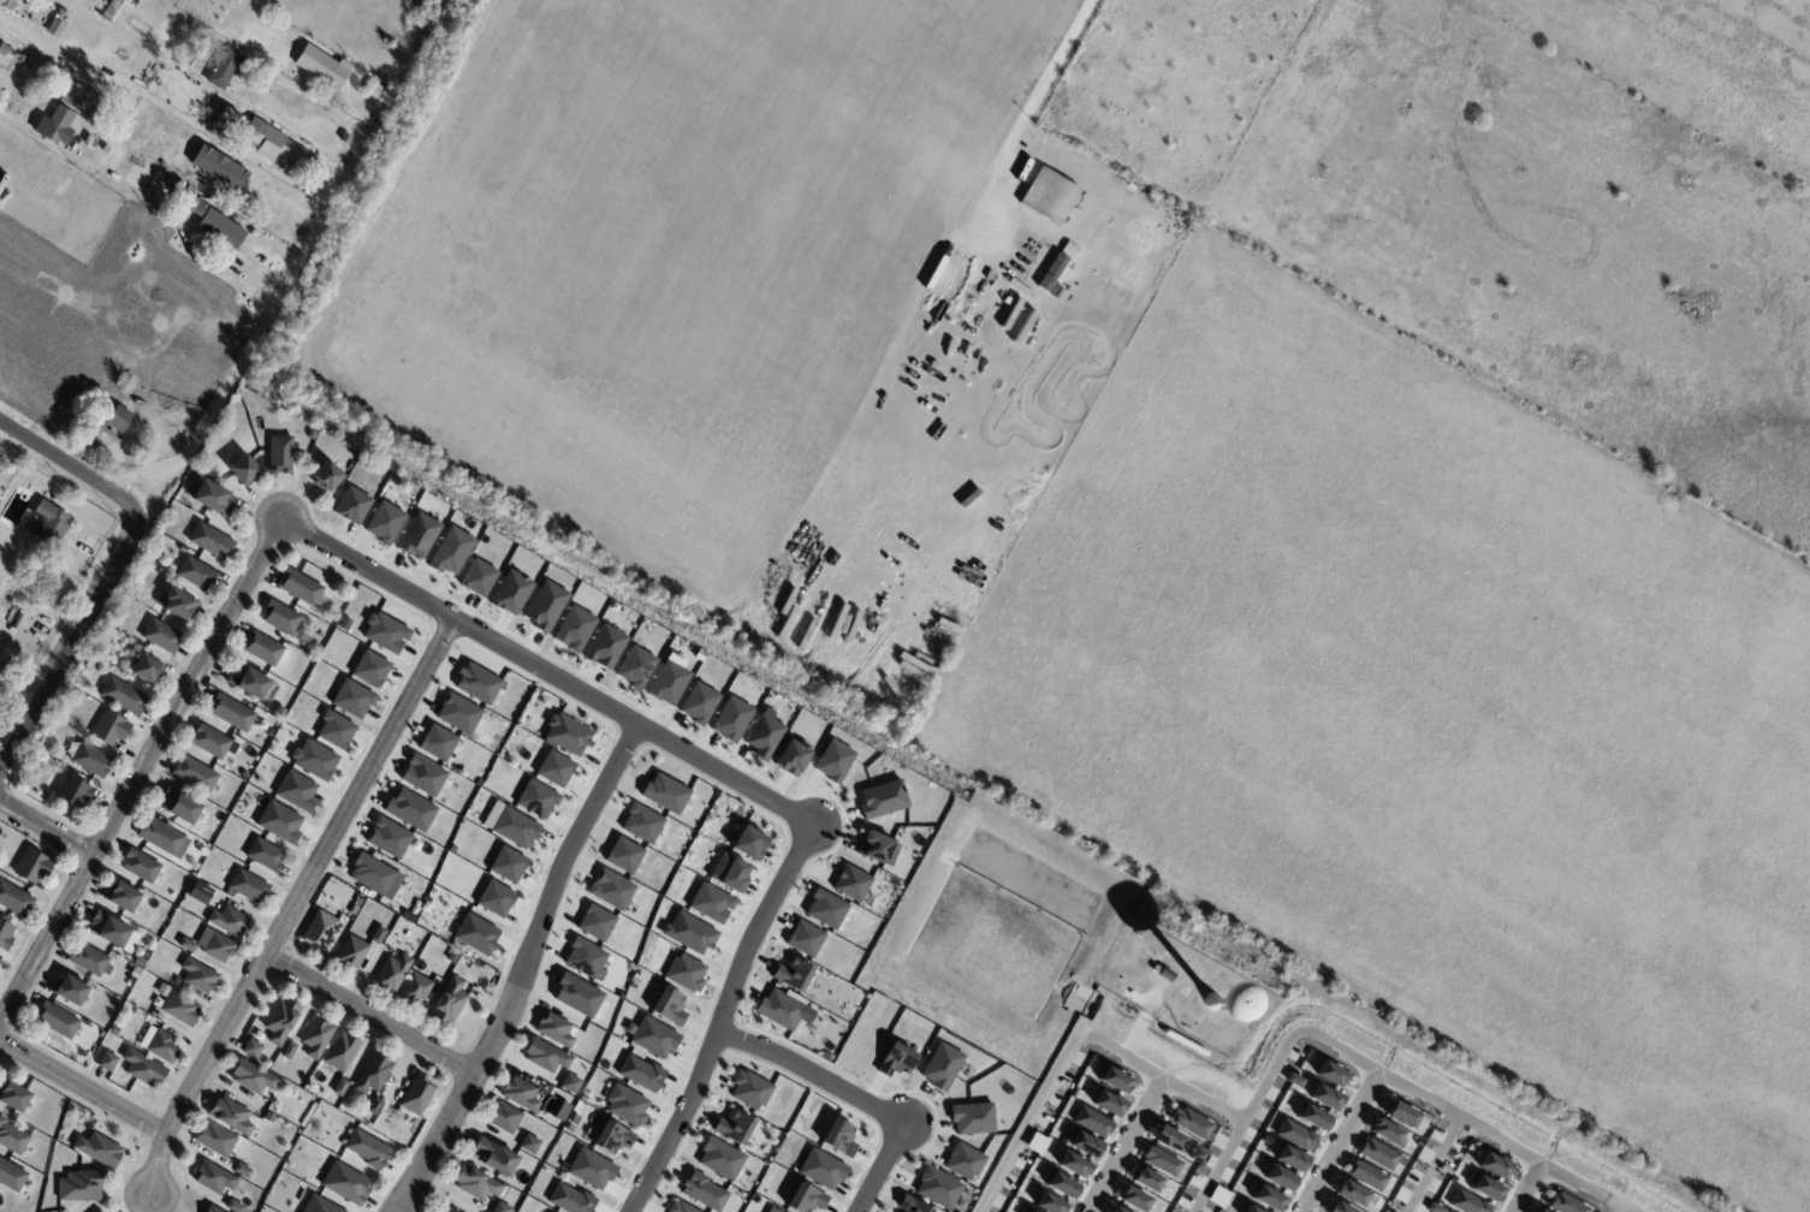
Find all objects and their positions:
building: (11, 4)
building: (112, 8)
building: (59, 25)
building: (7, 50)
building: (23, 59)
building: (326, 67)
building: (227, 69)
road: (131, 84)
building: (390, 99)
building: (87, 100)
road: (12, 120)
building: (58, 126)
building: (120, 130)
building: (261, 136)
building: (349, 137)
building: (91, 142)
building: (215, 172)
building: (238, 216)
building: (203, 218)
building: (248, 224)
building: (263, 239)
building: (1051, 272)
road: (274, 303)
building: (121, 420)
building: (309, 435)
building: (279, 452)
building: (242, 470)
building: (326, 475)
road: (144, 476)
building: (210, 498)
building: (352, 505)
building: (384, 523)
building: (53, 524)
building: (417, 535)
building: (209, 541)
building: (450, 552)
building: (542, 564)
road: (115, 568)
building: (195, 572)
building: (477, 577)
building: (297, 586)
building: (511, 593)
building: (61, 600)
building: (176, 604)
building: (545, 606)
building: (279, 616)
building: (344, 623)
building: (574, 629)
building: (385, 632)
building: (161, 635)
building: (262, 647)
building: (605, 647)
building: (635, 666)
building: (143, 667)
building: (369, 669)
road: (545, 675)
building: (248, 681)
building: (476, 683)
building: (667, 683)
building: (123, 695)
building: (352, 699)
building: (698, 703)
building: (230, 711)
building: (279, 712)
building: (457, 713)
building: (731, 719)
building: (109, 729)
building: (334, 730)
building: (566, 735)
building: (764, 737)
building: (208, 739)
building: (438, 743)
building: (791, 757)
building: (89, 759)
building: (314, 760)
building: (833, 761)
building: (554, 768)
road: (140, 770)
building: (194, 772)
building: (422, 776)
building: (72, 791)
building: (296, 791)
building: (665, 794)
building: (536, 800)
building: (883, 800)
building: (179, 804)
building: (409, 809)
building: (279, 822)
building: (642, 824)
building: (510, 825)
road: (44, 828)
building: (162, 837)
building: (387, 838)
building: (749, 843)
building: (874, 848)
building: (265, 854)
building: (623, 855)
building: (32, 865)
building: (140, 865)
building: (508, 865)
building: (729, 873)
building: (372, 874)
building: (851, 884)
building: (247, 885)
building: (610, 890)
building: (121, 897)
building: (14, 898)
building: (494, 898)
building: (356, 901)
building: (711, 903)
road: (291, 908)
building: (826, 909)
building: (351, 910)
building: (229, 921)
building: (595, 922)
building: (107, 928)
building: (320, 931)
building: (5, 932)
building: (689, 932)
building: (475, 934)
building: (378, 935)
building: (805, 939)
building: (214, 944)
building: (186, 945)
building: (351, 952)
building: (0, 957)
building: (584, 958)
building: (89, 959)
building: (138, 962)
road: (522, 969)
building: (135, 970)
building: (1163, 972)
building: (684, 973)
building: (390, 974)
building: (793, 974)
building: (198, 975)
building: (71, 988)
building: (415, 988)
building: (577, 996)
building: (449, 1002)
building: (1215, 1002)
building: (669, 1006)
building: (179, 1008)
building: (779, 1010)
road: (370, 1016)
building: (280, 1018)
road: (717, 1018)
building: (55, 1020)
building: (113, 1029)
building: (554, 1029)
building: (315, 1036)
building: (652, 1036)
road: (1072, 1036)
building: (41, 1039)
building: (161, 1046)
building: (250, 1046)
building: (289, 1050)
building: (340, 1050)
building: (544, 1056)
building: (106, 1060)
building: (895, 1060)
building: (942, 1067)
building: (142, 1068)
road: (809, 1071)
building: (372, 1073)
building: (641, 1074)
building: (1330, 1075)
building: (253, 1076)
building: (1112, 1079)
building: (1294, 1081)
building: (570, 1082)
building: (339, 1086)
road: (82, 1088)
building: (749, 1089)
road: (1411, 1089)
building: (13, 1094)
building: (416, 1094)
building: (518, 1094)
building: (1325, 1097)
building: (582, 1098)
building: (1109, 1103)
building: (373, 1105)
building: (625, 1105)
building: (562, 1111)
building: (230, 1113)
building: (1401, 1115)
building: (503, 1116)
building: (1311, 1116)
building: (973, 1118)
building: (574, 1119)
building: (1092, 1122)
building: (1191, 1123)
building: (732, 1127)
building: (568, 1128)
building: (1387, 1133)
building: (1295, 1135)
building: (12, 1136)
building: (60, 1137)
building: (214, 1137)
building: (612, 1137)
building: (838, 1137)
building: (1168, 1139)
road: (1337, 1142)
building: (529, 1143)
building: (1037, 1143)
building: (1085, 1145)
road: (1123, 1146)
building: (99, 1148)
building: (367, 1148)
building: (1377, 1154)
building: (1199, 1155)
building: (497, 1158)
building: (720, 1158)
building: (1290, 1159)
building: (1161, 1160)
building: (963, 1161)
road: (1431, 1163)
building: (1073, 1164)
building: (1491, 1165)
road: (878, 1168)
road: (1213, 1168)
building: (242, 1169)
building: (591, 1169)
building: (821, 1169)
building: (11, 1176)
building: (1366, 1176)
building: (213, 1177)
building: (1280, 1178)
building: (1146, 1180)
building: (476, 1182)
building: (345, 1183)
building: (1060, 1184)
building: (79, 1186)
building: (938, 1188)
building: (1484, 1188)
road: (1524, 1188)
building: (705, 1193)
building: (1351, 1194)
building: (1266, 1196)
building: (1218, 1198)
building: (570, 1199)
building: (806, 1199)
building: (1134, 1199)
building: (1467, 1202)
building: (1050, 1204)
building: (233, 1205)
building: (319, 1205)
building: (912, 1205)
building: (1565, 1205)
building: (503, 1207)
building: (678, 1207)
building: (1336, 1207)
building: (210, 1208)
building: (1434, 1208)
building: (449, 1210)
building: (1116, 1210)
building: (1251, 1210)
building: (97, 1211)
building: (777, 1211)
building: (1032, 1211)
building: (1447, 1211)
building: (1539, 1211)

